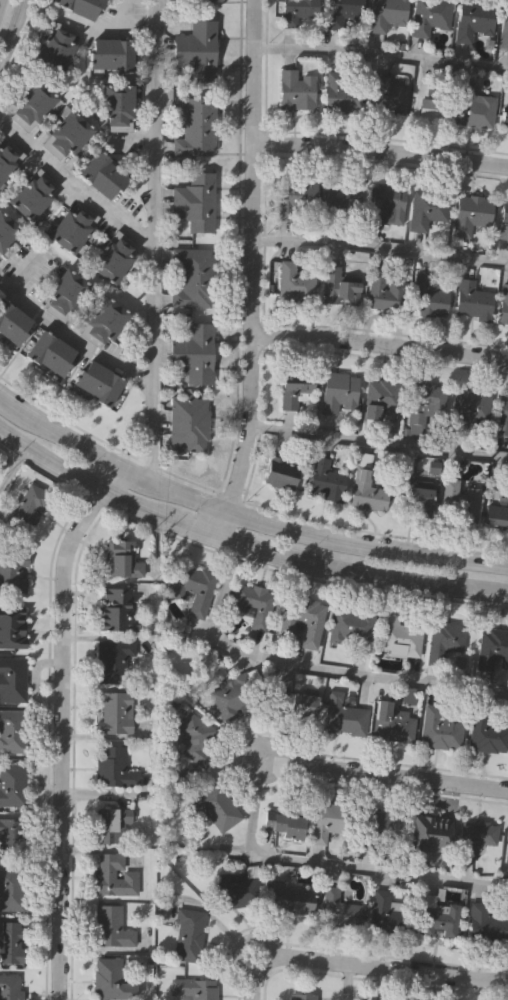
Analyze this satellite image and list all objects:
building: (195, 1)
building: (79, 7)
building: (296, 12)
building: (342, 12)
road: (125, 15)
building: (386, 15)
building: (430, 16)
building: (473, 20)
road: (12, 28)
building: (503, 29)
road: (104, 31)
building: (57, 46)
building: (197, 49)
building: (113, 53)
road: (381, 53)
building: (296, 90)
building: (341, 92)
building: (387, 97)
building: (34, 102)
building: (428, 103)
building: (119, 105)
building: (473, 108)
building: (503, 116)
building: (196, 125)
building: (68, 133)
road: (132, 141)
road: (380, 147)
building: (9, 157)
building: (104, 173)
road: (74, 189)
building: (34, 193)
building: (294, 199)
building: (197, 200)
building: (338, 200)
building: (385, 204)
building: (427, 208)
building: (471, 214)
building: (503, 222)
building: (74, 226)
building: (7, 229)
road: (153, 238)
road: (380, 247)
building: (115, 255)
road: (253, 269)
road: (20, 271)
building: (195, 276)
building: (294, 284)
building: (337, 288)
building: (67, 292)
building: (385, 293)
building: (426, 297)
building: (470, 301)
building: (502, 305)
building: (14, 320)
building: (106, 321)
road: (73, 337)
road: (380, 342)
building: (52, 352)
building: (196, 352)
building: (100, 381)
building: (337, 393)
building: (292, 396)
building: (380, 399)
building: (423, 403)
building: (468, 408)
building: (501, 417)
building: (188, 422)
road: (378, 442)
road: (13, 467)
building: (280, 472)
building: (325, 482)
building: (365, 493)
building: (414, 497)
building: (461, 502)
building: (27, 509)
road: (241, 512)
building: (495, 516)
road: (242, 543)
building: (121, 560)
building: (12, 571)
building: (192, 587)
building: (253, 605)
building: (113, 609)
building: (305, 619)
building: (11, 626)
building: (350, 626)
building: (399, 637)
building: (446, 645)
building: (493, 650)
building: (113, 661)
road: (303, 667)
building: (12, 681)
building: (232, 695)
building: (293, 704)
building: (114, 713)
building: (344, 719)
road: (60, 722)
building: (391, 723)
building: (13, 732)
building: (441, 733)
building: (487, 735)
building: (193, 740)
building: (114, 768)
road: (385, 775)
building: (12, 786)
building: (218, 809)
building: (331, 822)
building: (283, 825)
building: (112, 826)
building: (379, 828)
building: (428, 834)
building: (9, 837)
building: (473, 838)
building: (506, 847)
road: (330, 864)
building: (114, 876)
building: (12, 891)
building: (238, 891)
building: (290, 899)
building: (338, 910)
building: (384, 914)
building: (438, 920)
building: (484, 924)
building: (111, 928)
building: (188, 936)
building: (10, 943)
road: (387, 969)
building: (110, 979)
road: (255, 980)
road: (346, 982)
building: (10, 986)
building: (194, 987)
building: (301, 995)

